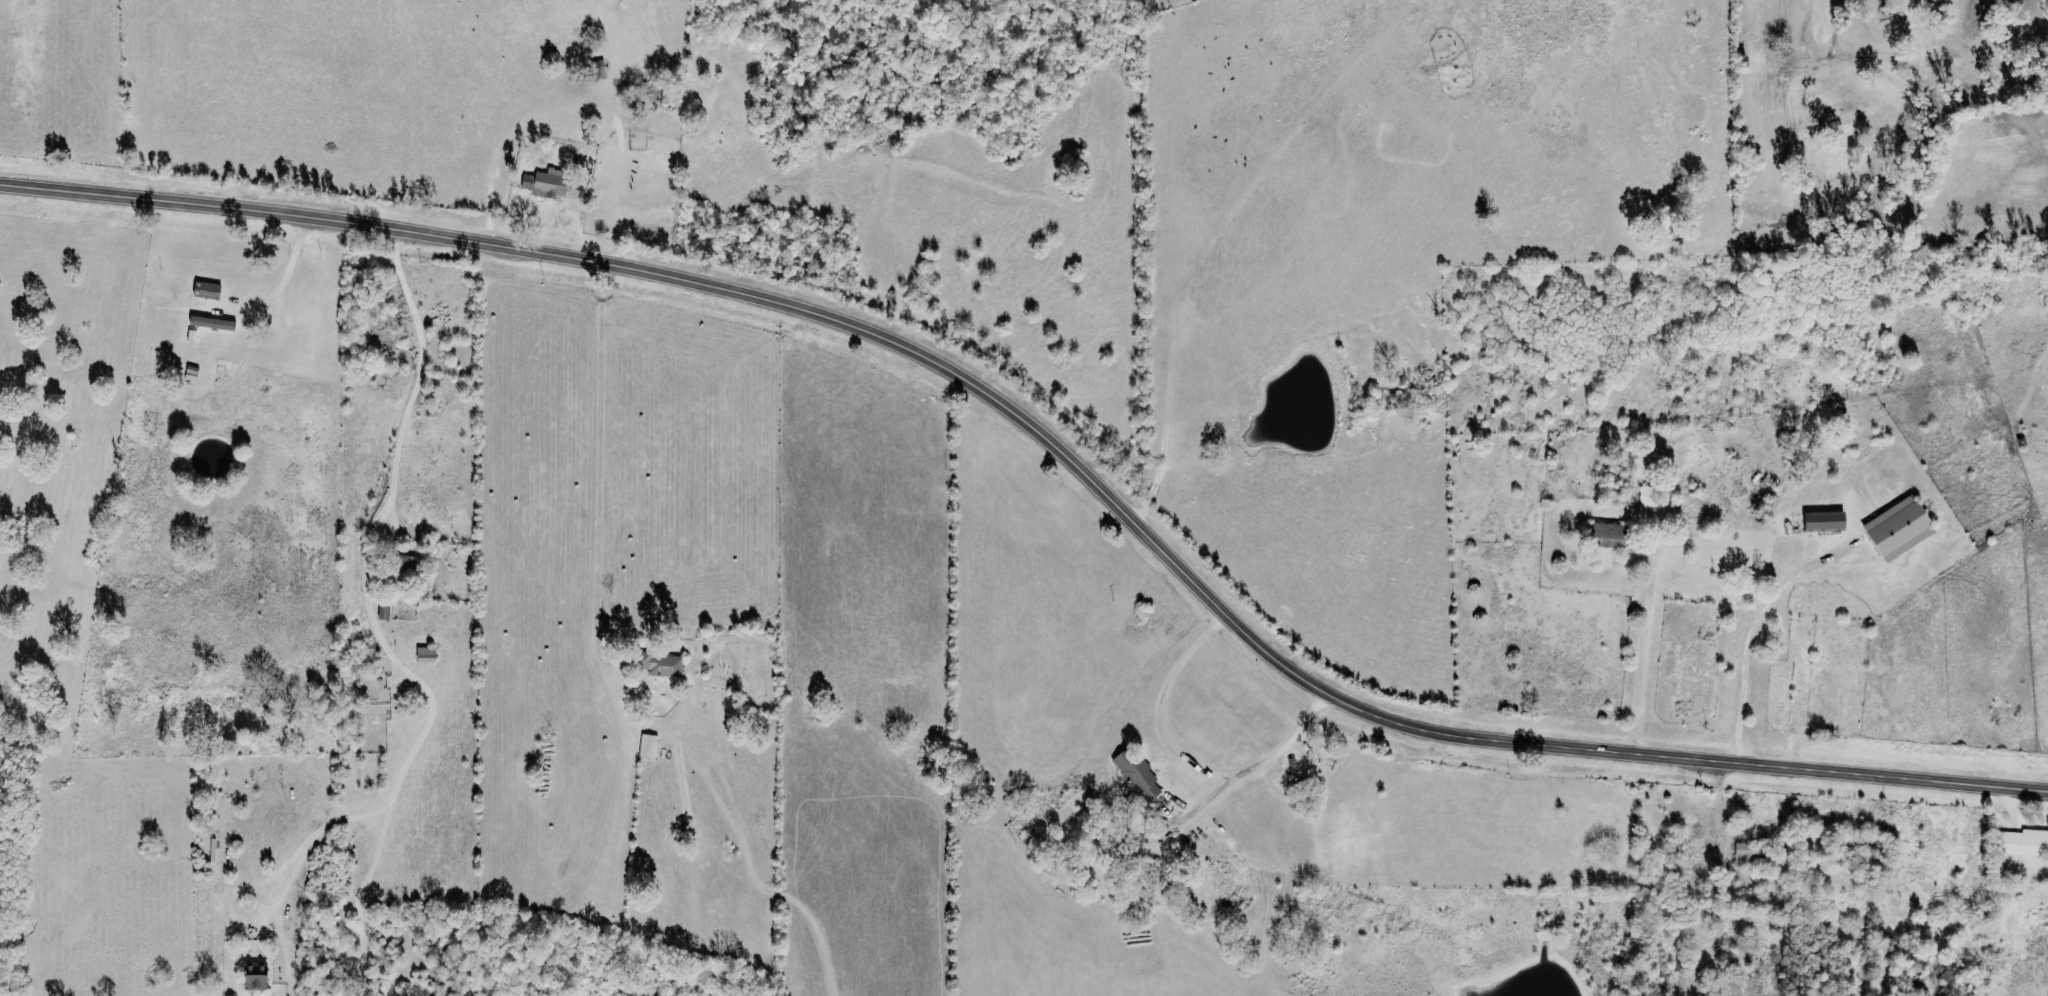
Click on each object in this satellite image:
building: (545, 184)
building: (203, 290)
building: (209, 322)
road: (1052, 446)
road: (599, 463)
building: (1822, 520)
building: (1896, 528)
building: (1605, 534)
building: (401, 563)
road: (365, 606)
building: (381, 613)
building: (366, 648)
building: (424, 654)
building: (659, 665)
road: (1157, 707)
building: (647, 746)
road: (1255, 764)
building: (1134, 772)
building: (2024, 842)
building: (1745, 854)
building: (252, 977)

